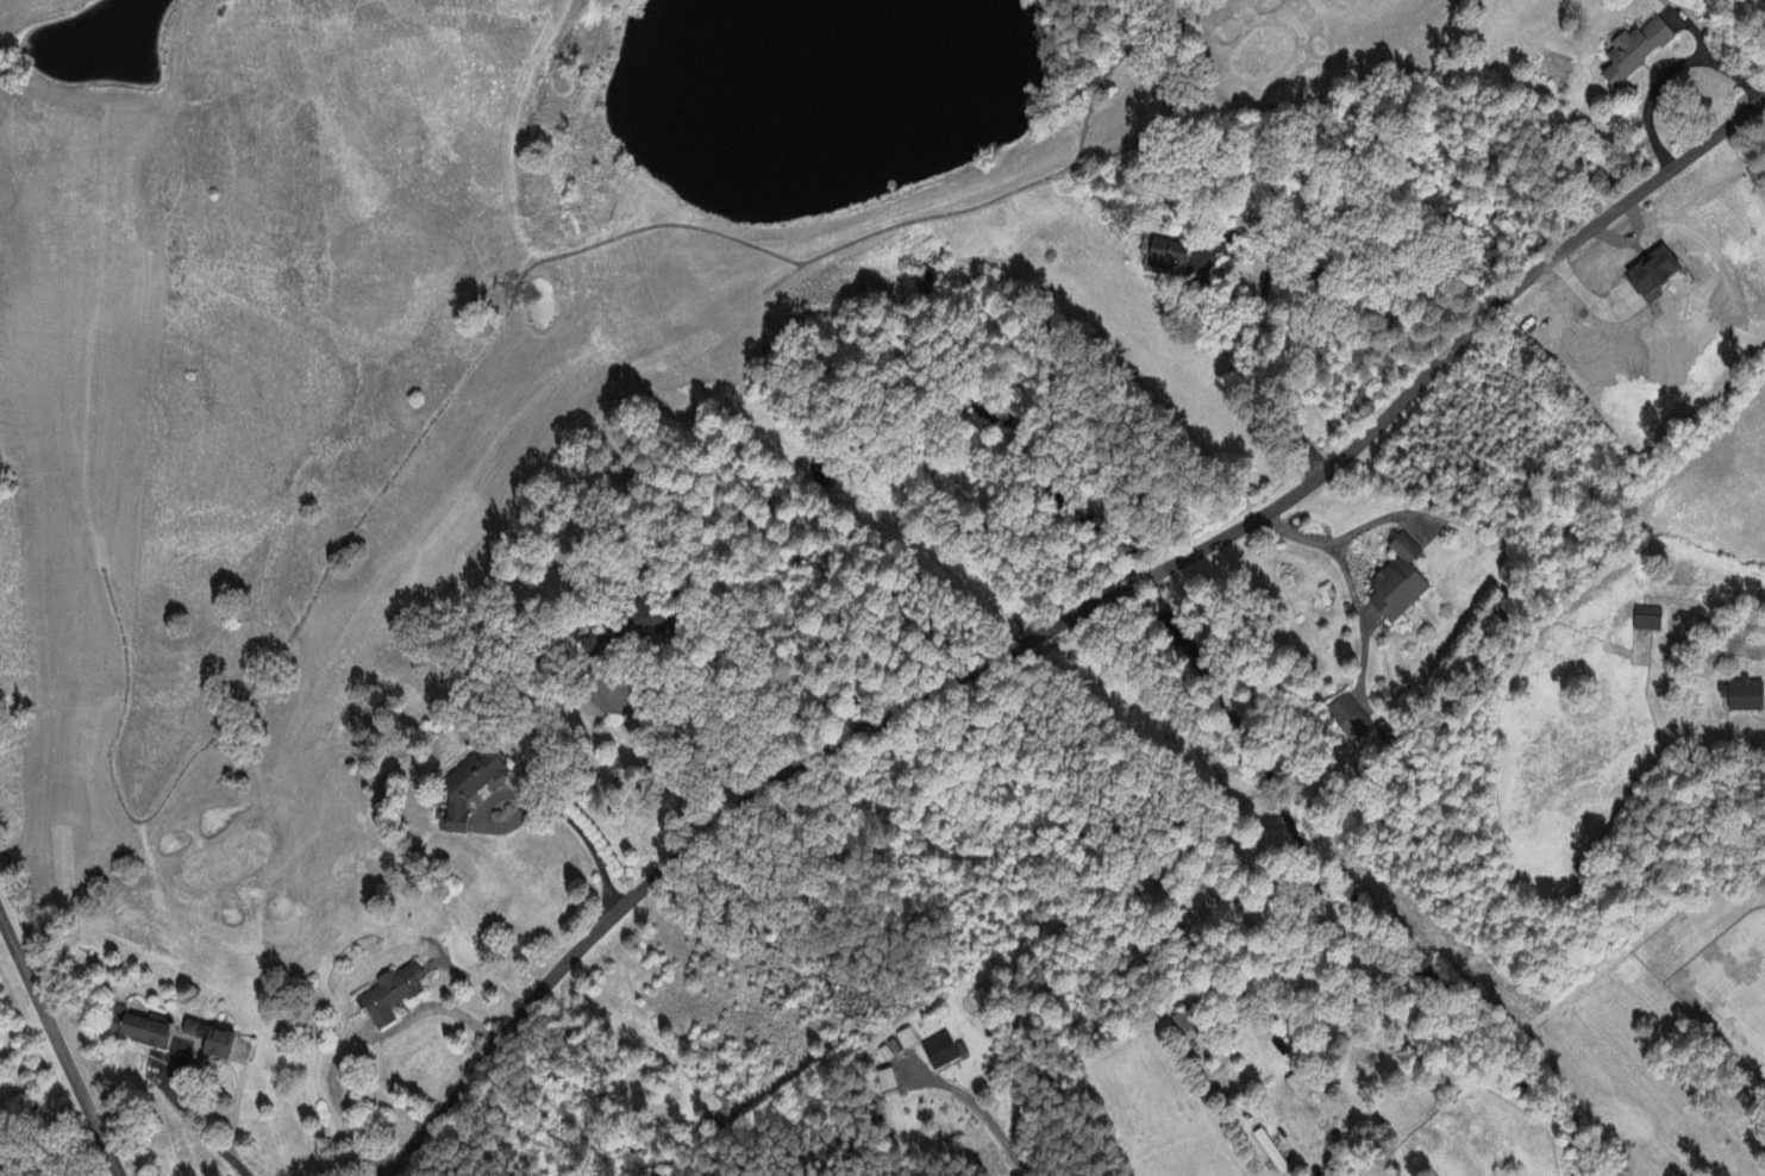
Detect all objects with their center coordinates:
road: (1670, 71)
road: (1198, 287)
road: (1328, 546)
road: (1057, 620)
road: (693, 700)
road: (539, 802)
road: (57, 1049)
road: (195, 1121)
road: (991, 1121)
road: (1225, 1136)

